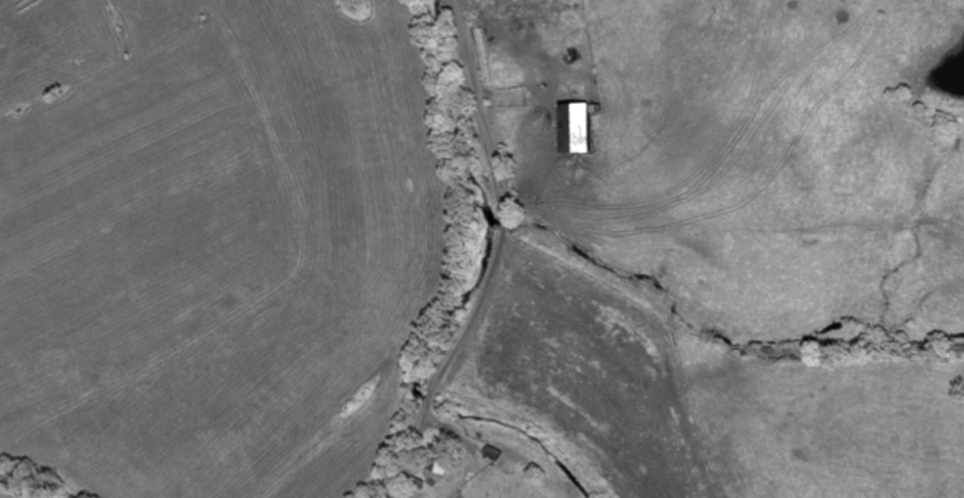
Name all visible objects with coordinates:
building: (577, 127)
road: (502, 255)
building: (495, 453)
building: (439, 469)

